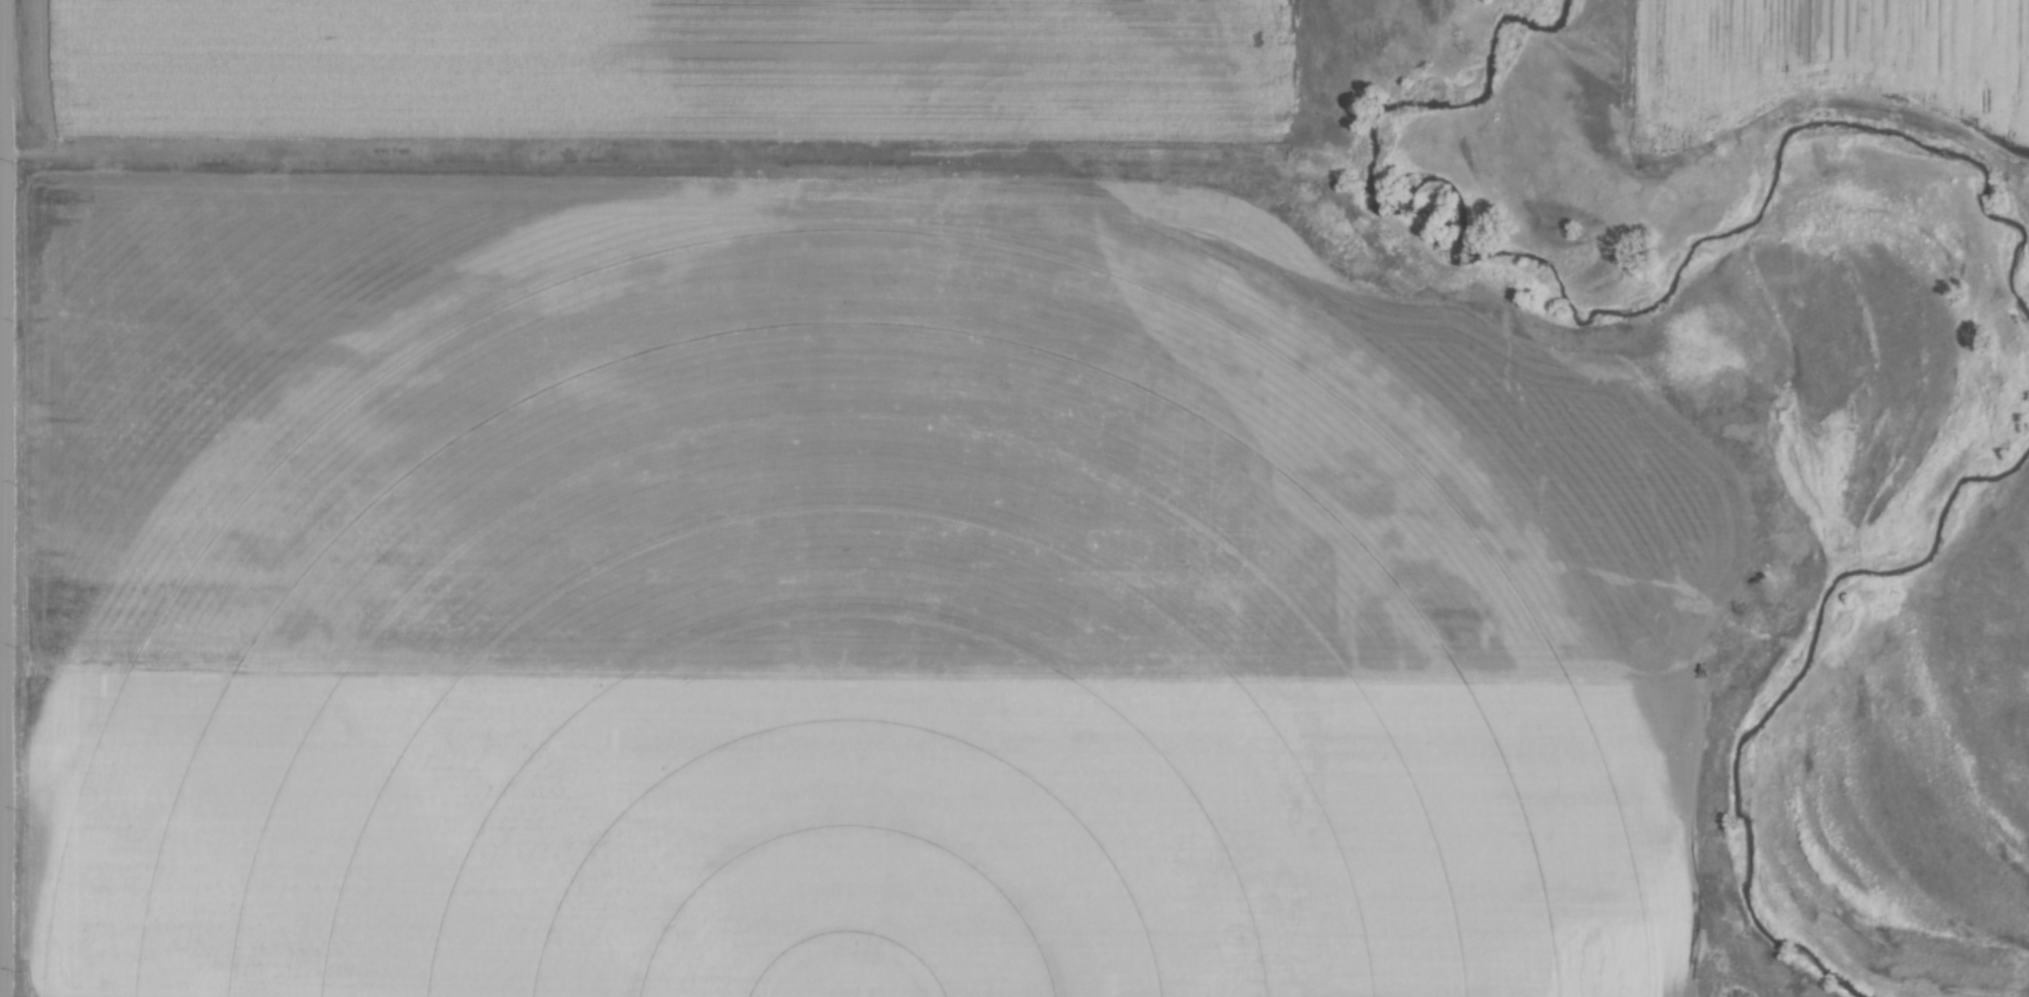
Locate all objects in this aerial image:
crop: (1820, 64)
crop: (666, 69)
road: (7, 498)
crop: (825, 600)

